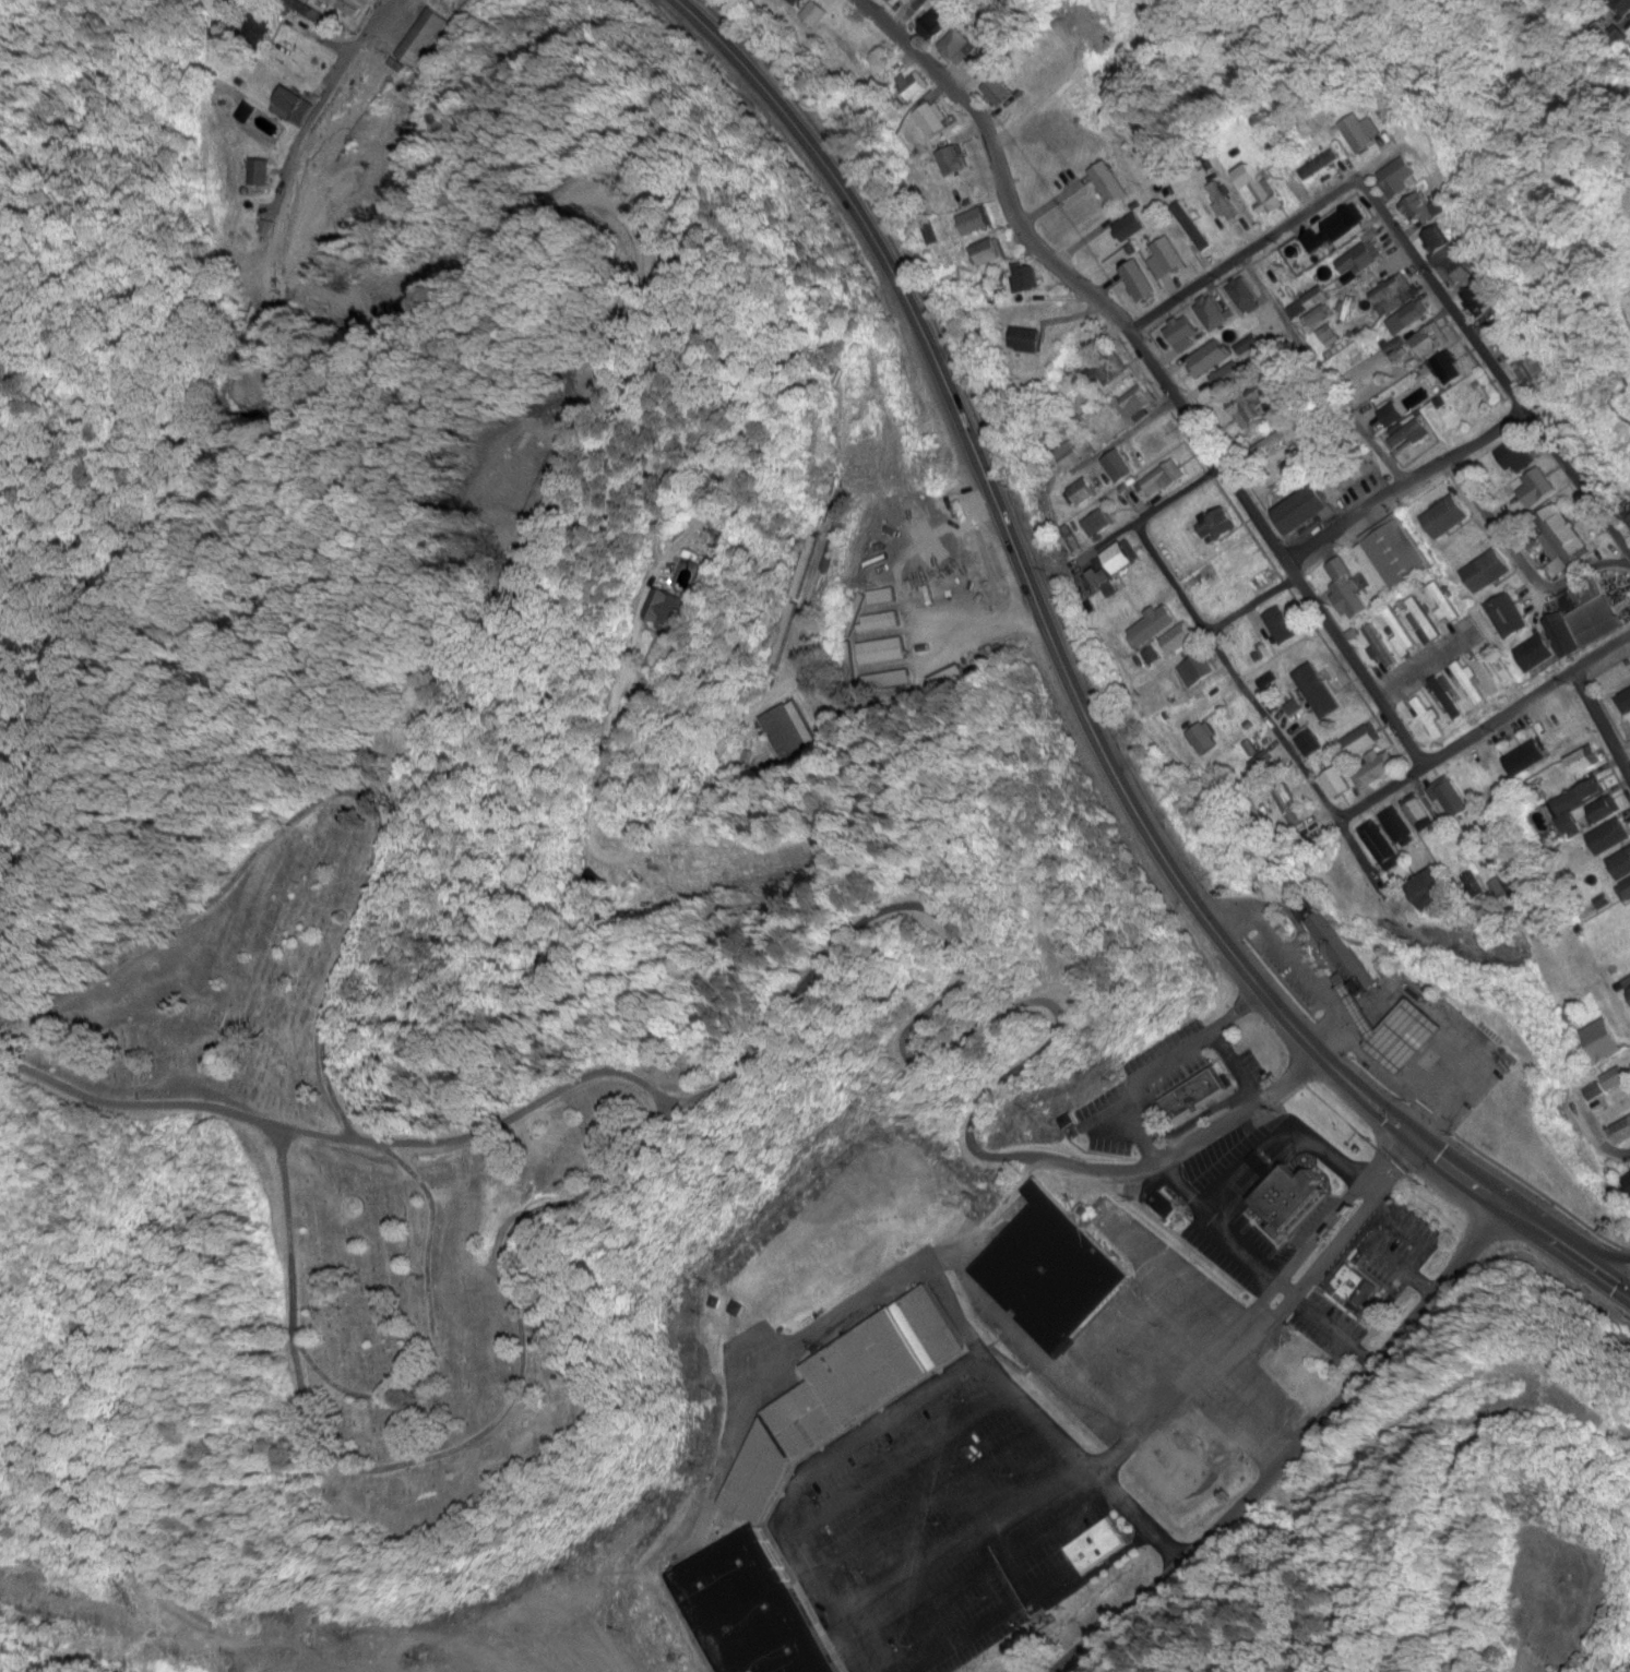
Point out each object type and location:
building: (1622, 5)
building: (933, 25)
building: (421, 37)
building: (957, 48)
building: (307, 61)
building: (997, 93)
road: (328, 97)
building: (294, 100)
building: (1363, 131)
building: (1317, 159)
building: (1399, 178)
building: (1109, 183)
building: (1262, 189)
building: (1223, 201)
building: (1414, 210)
building: (1130, 227)
building: (1336, 231)
building: (1441, 243)
building: (984, 253)
road: (1245, 256)
building: (1166, 258)
building: (1363, 259)
building: (1140, 282)
building: (1395, 295)
building: (1248, 296)
building: (1477, 298)
building: (1310, 303)
building: (1216, 312)
building: (1408, 320)
building: (1185, 327)
building: (1431, 342)
building: (1212, 359)
road: (1496, 366)
building: (1453, 368)
building: (1113, 369)
road: (1156, 371)
road: (1321, 374)
building: (1535, 374)
building: (1230, 378)
building: (1137, 403)
building: (1258, 406)
road: (1130, 432)
building: (1412, 437)
building: (1154, 443)
building: (1069, 456)
building: (1516, 456)
building: (1118, 467)
building: (1355, 473)
building: (1162, 479)
road: (1405, 485)
building: (1537, 488)
building: (1082, 492)
road: (1178, 497)
building: (1304, 510)
building: (1628, 514)
building: (1445, 517)
building: (1098, 523)
building: (1215, 529)
building: (1566, 536)
road: (1106, 545)
building: (1393, 558)
building: (1121, 559)
road: (1516, 566)
building: (1485, 571)
building: (1097, 580)
building: (1348, 592)
building: (883, 598)
building: (1447, 602)
road: (1253, 608)
building: (669, 610)
building: (1591, 612)
building: (1508, 617)
building: (1426, 619)
building: (880, 622)
building: (1153, 626)
building: (1283, 628)
building: (1402, 633)
building: (1560, 637)
building: (1178, 638)
building: (1381, 647)
building: (881, 652)
building: (1537, 653)
building: (1492, 668)
road: (1420, 671)
building: (1190, 672)
building: (949, 678)
building: (884, 681)
building: (1471, 683)
building: (1449, 698)
building: (1322, 701)
road: (1080, 703)
building: (1625, 703)
building: (1429, 718)
road: (1601, 720)
road: (1266, 721)
building: (792, 733)
building: (1202, 739)
road: (1473, 739)
building: (1361, 741)
building: (1308, 742)
building: (1530, 759)
building: (1584, 761)
building: (1376, 773)
building: (1337, 783)
building: (1453, 798)
building: (1577, 803)
building: (1286, 807)
building: (1603, 811)
building: (1420, 812)
building: (1400, 831)
building: (1610, 837)
building: (1382, 845)
building: (1621, 864)
building: (1432, 891)
building: (1626, 891)
road: (865, 922)
building: (1348, 970)
building: (1629, 991)
building: (1603, 1039)
building: (1614, 1079)
building: (1193, 1096)
traffic signals: (1408, 1130)
building: (1620, 1133)
road: (1605, 1140)
traffic signals: (1427, 1145)
park: (359, 1169)
building: (1627, 1184)
building: (1287, 1194)
building: (1055, 1271)
building: (1356, 1286)
road: (1256, 1309)
road: (1276, 1318)
road: (1035, 1411)
road: (1297, 1454)
building: (760, 1479)
building: (1096, 1548)
road: (872, 1588)
road: (998, 1616)
road: (845, 1636)

